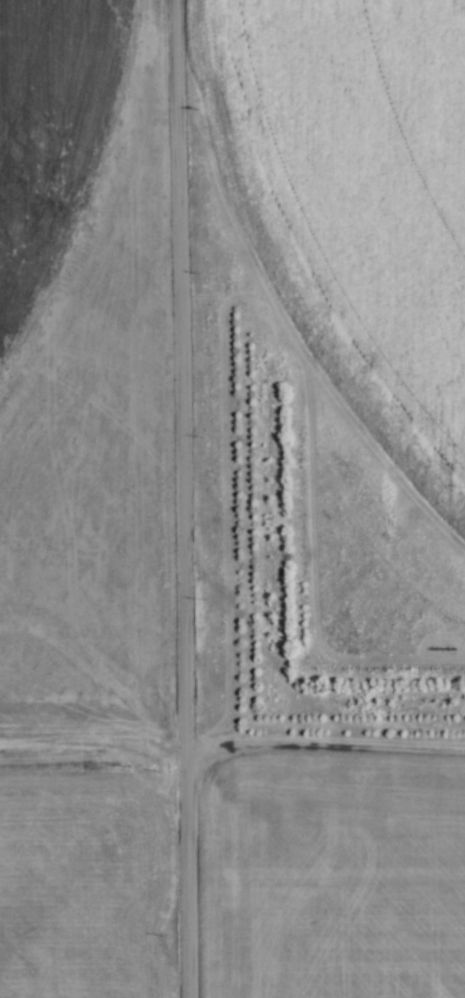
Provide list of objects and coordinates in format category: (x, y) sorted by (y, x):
crop: (357, 198)
road: (182, 498)
crop: (83, 500)
crop: (333, 870)

